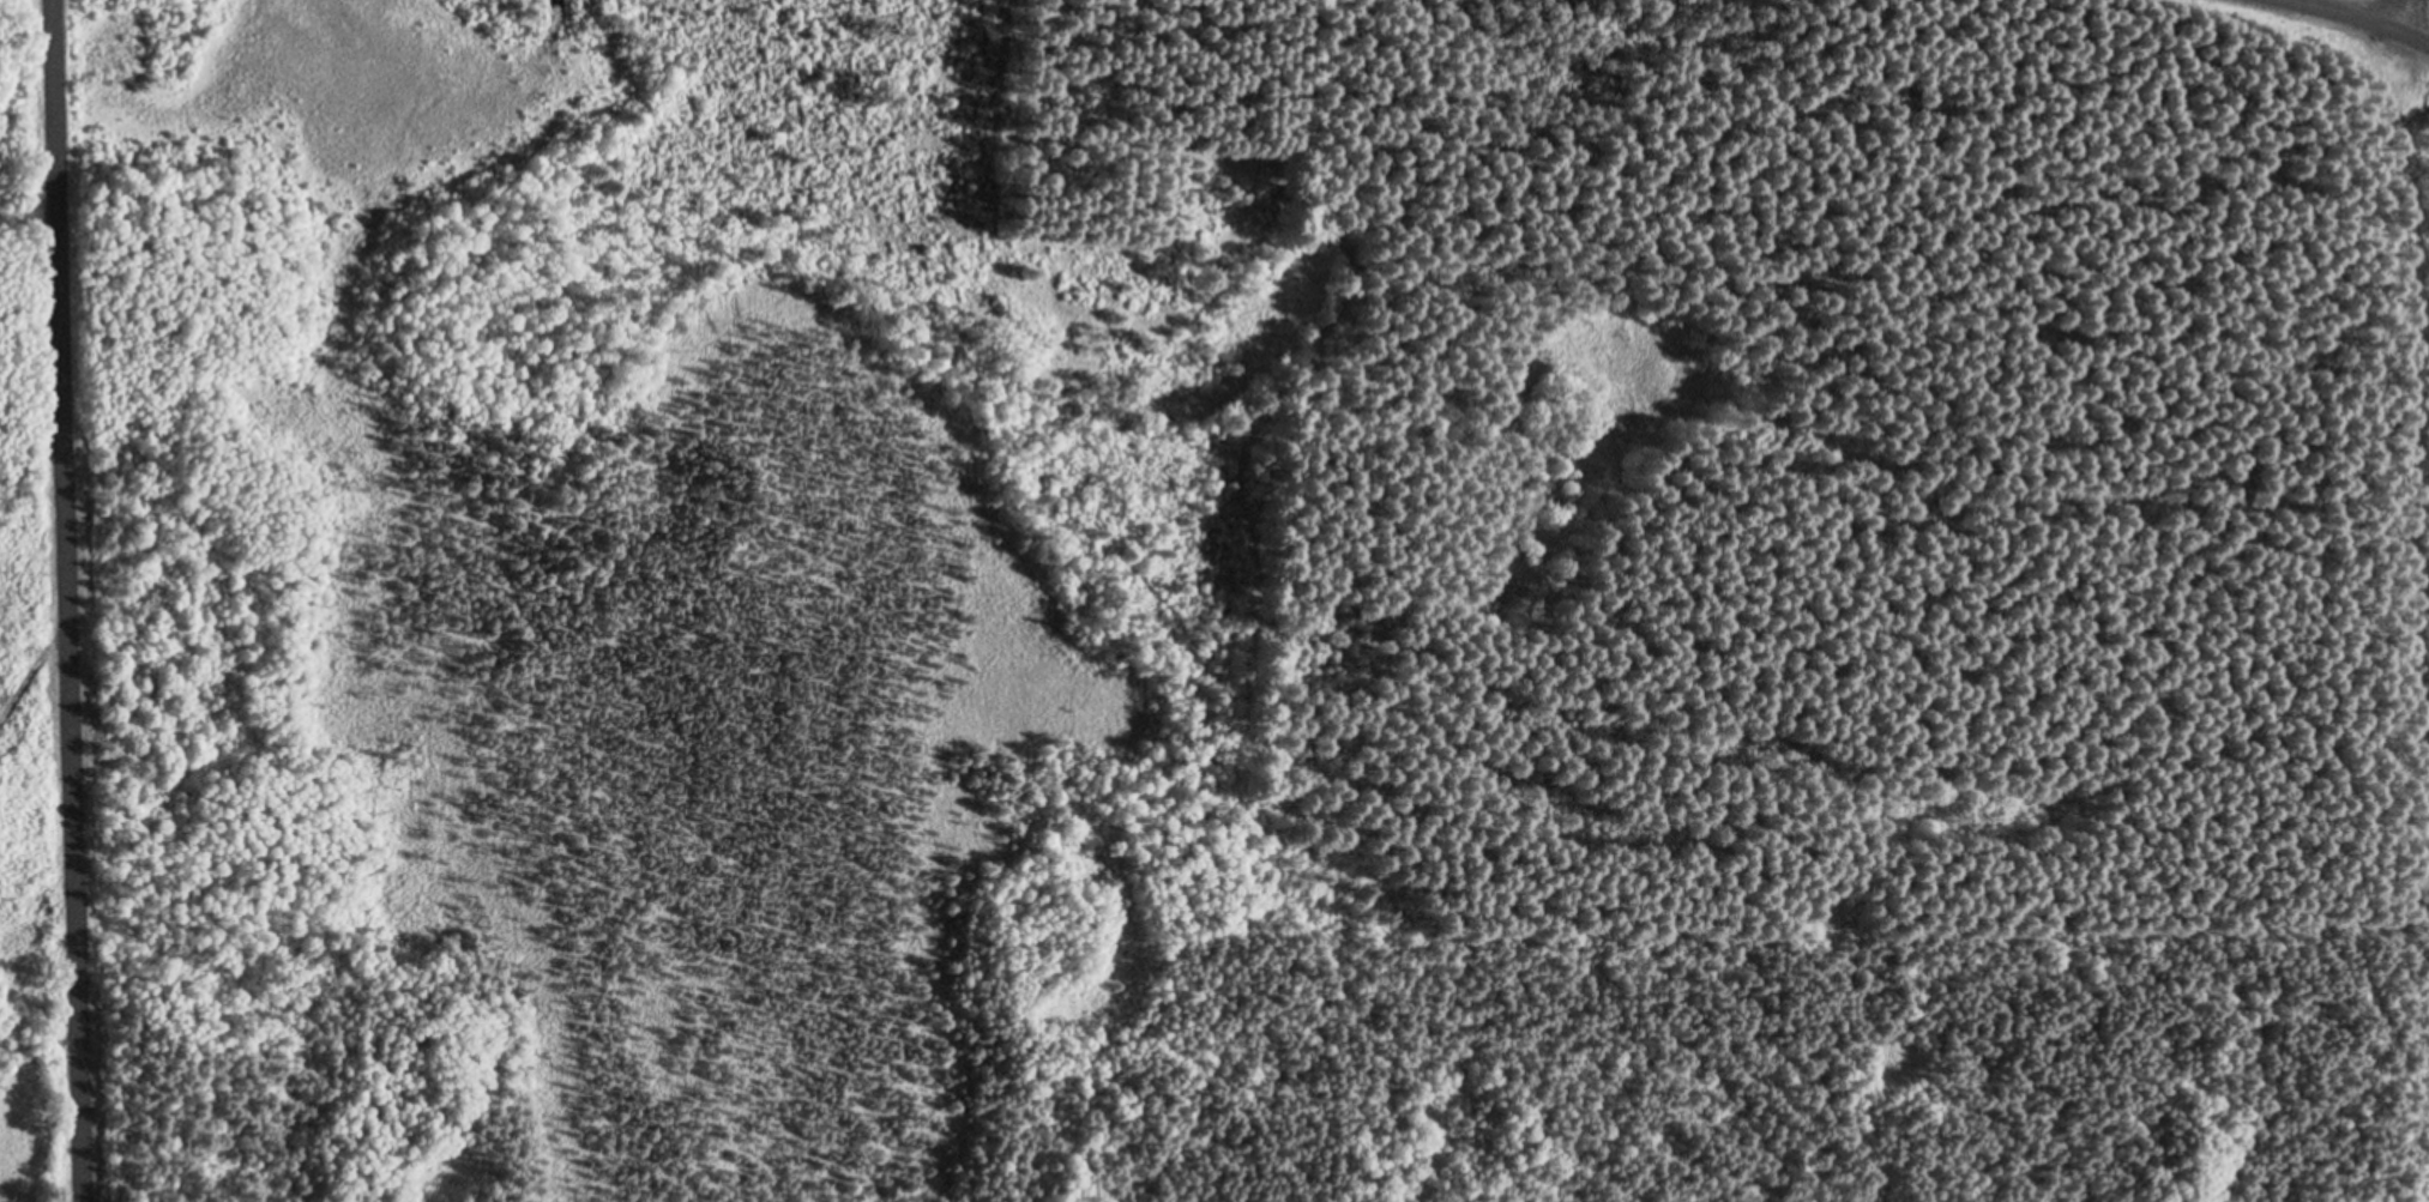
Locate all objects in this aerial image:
road: (2356, 20)
road: (2422, 22)
road: (72, 600)
road: (41, 1032)

